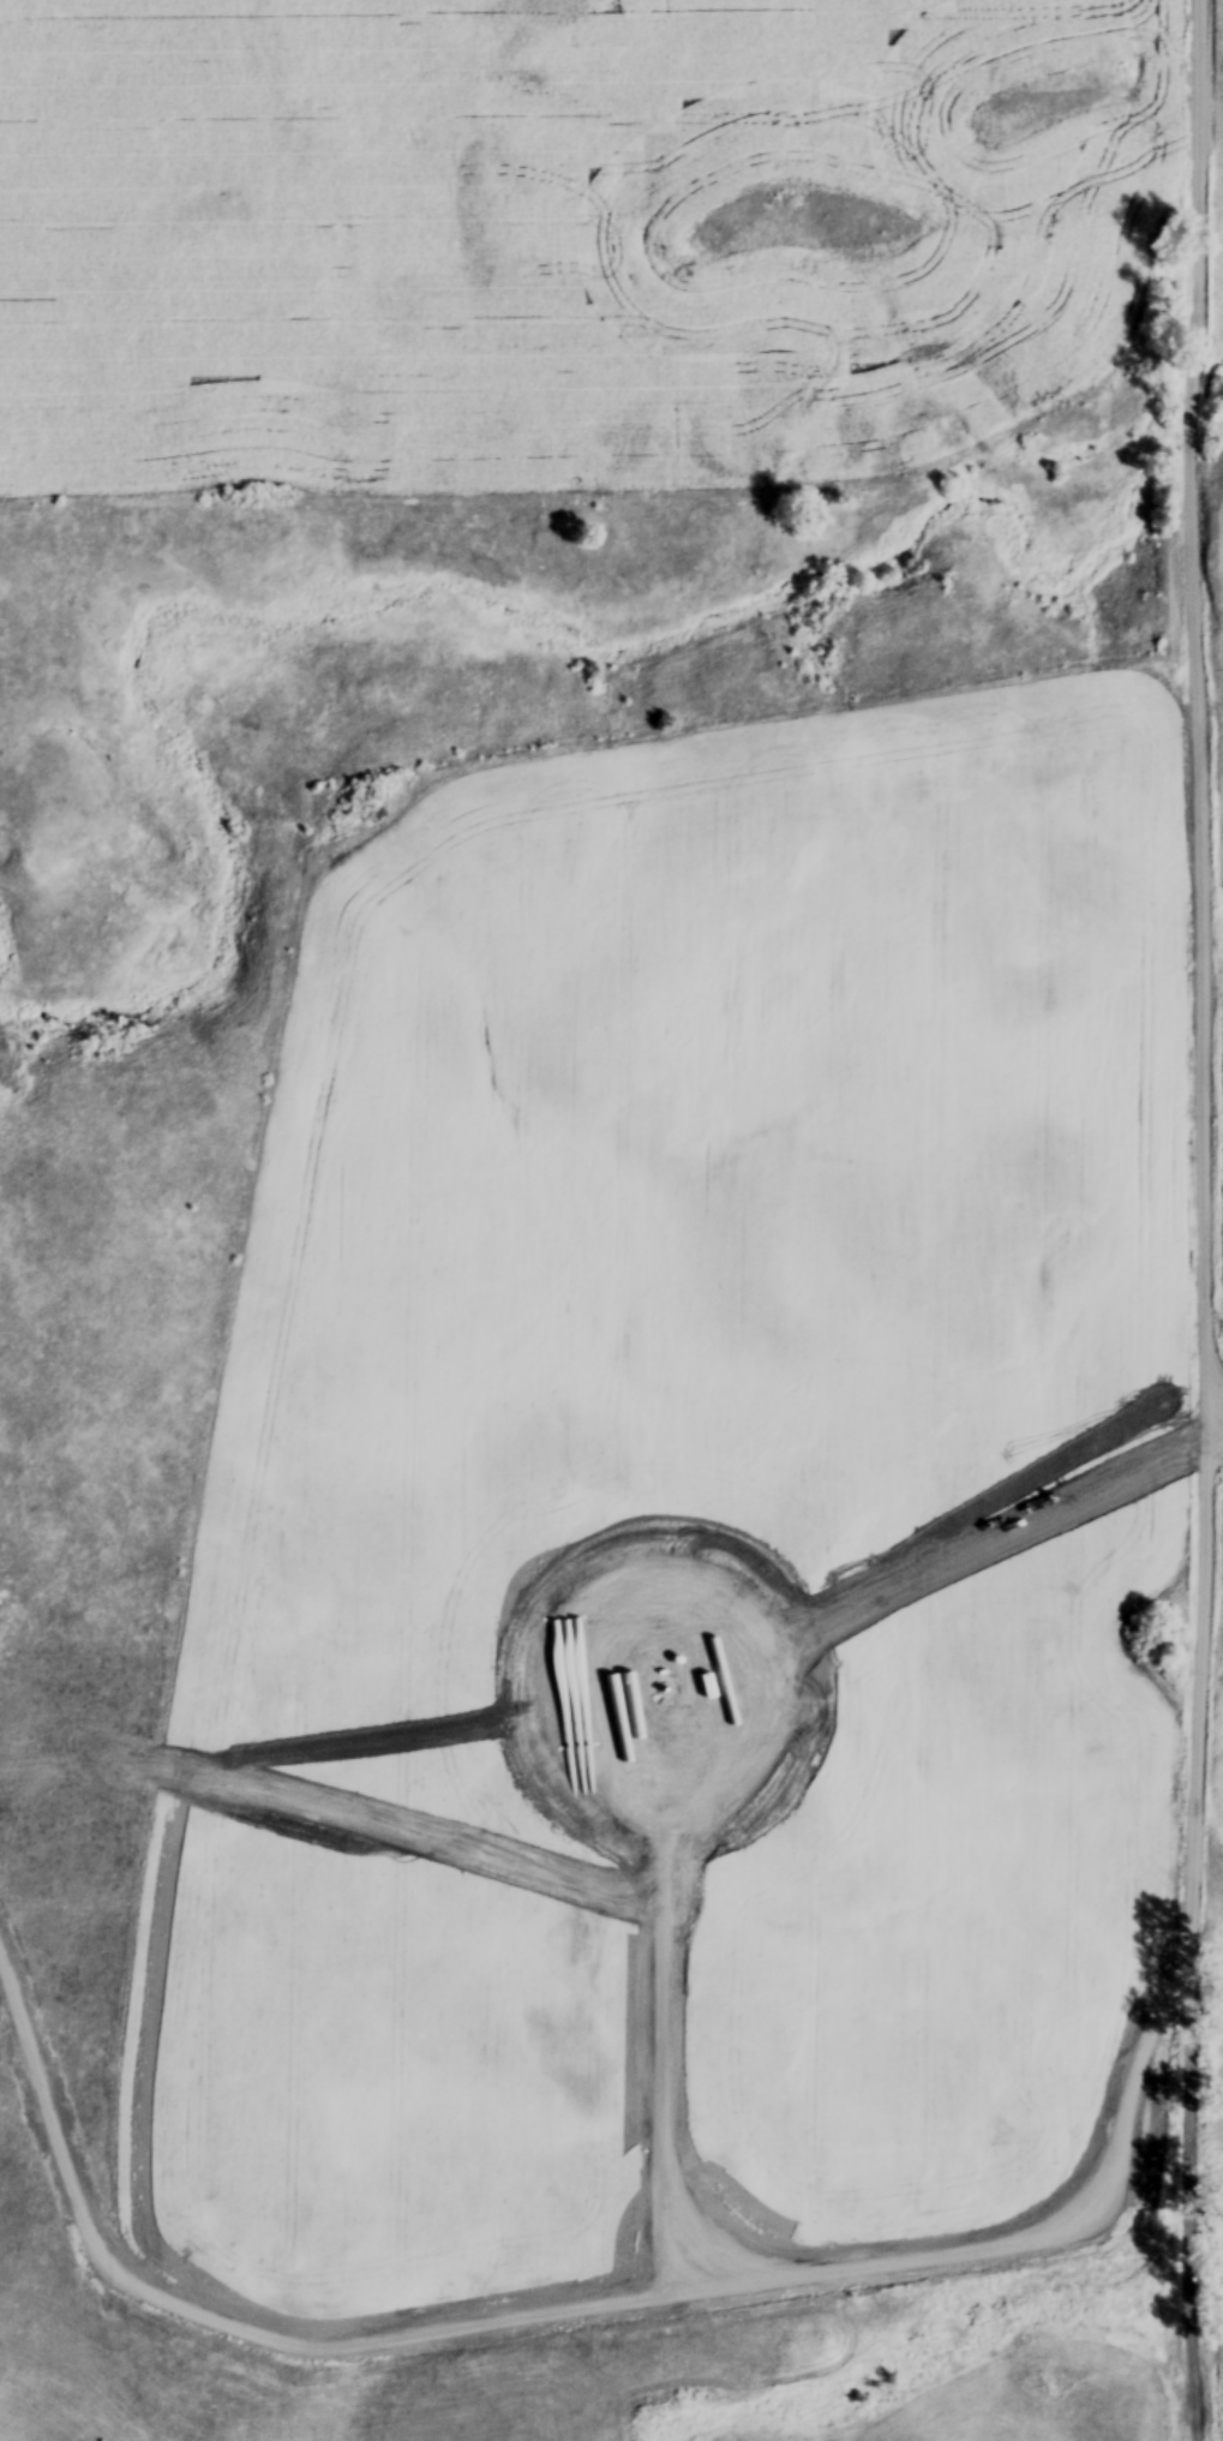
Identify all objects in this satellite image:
road: (1200, 1220)
wind turbine: (657, 1692)

